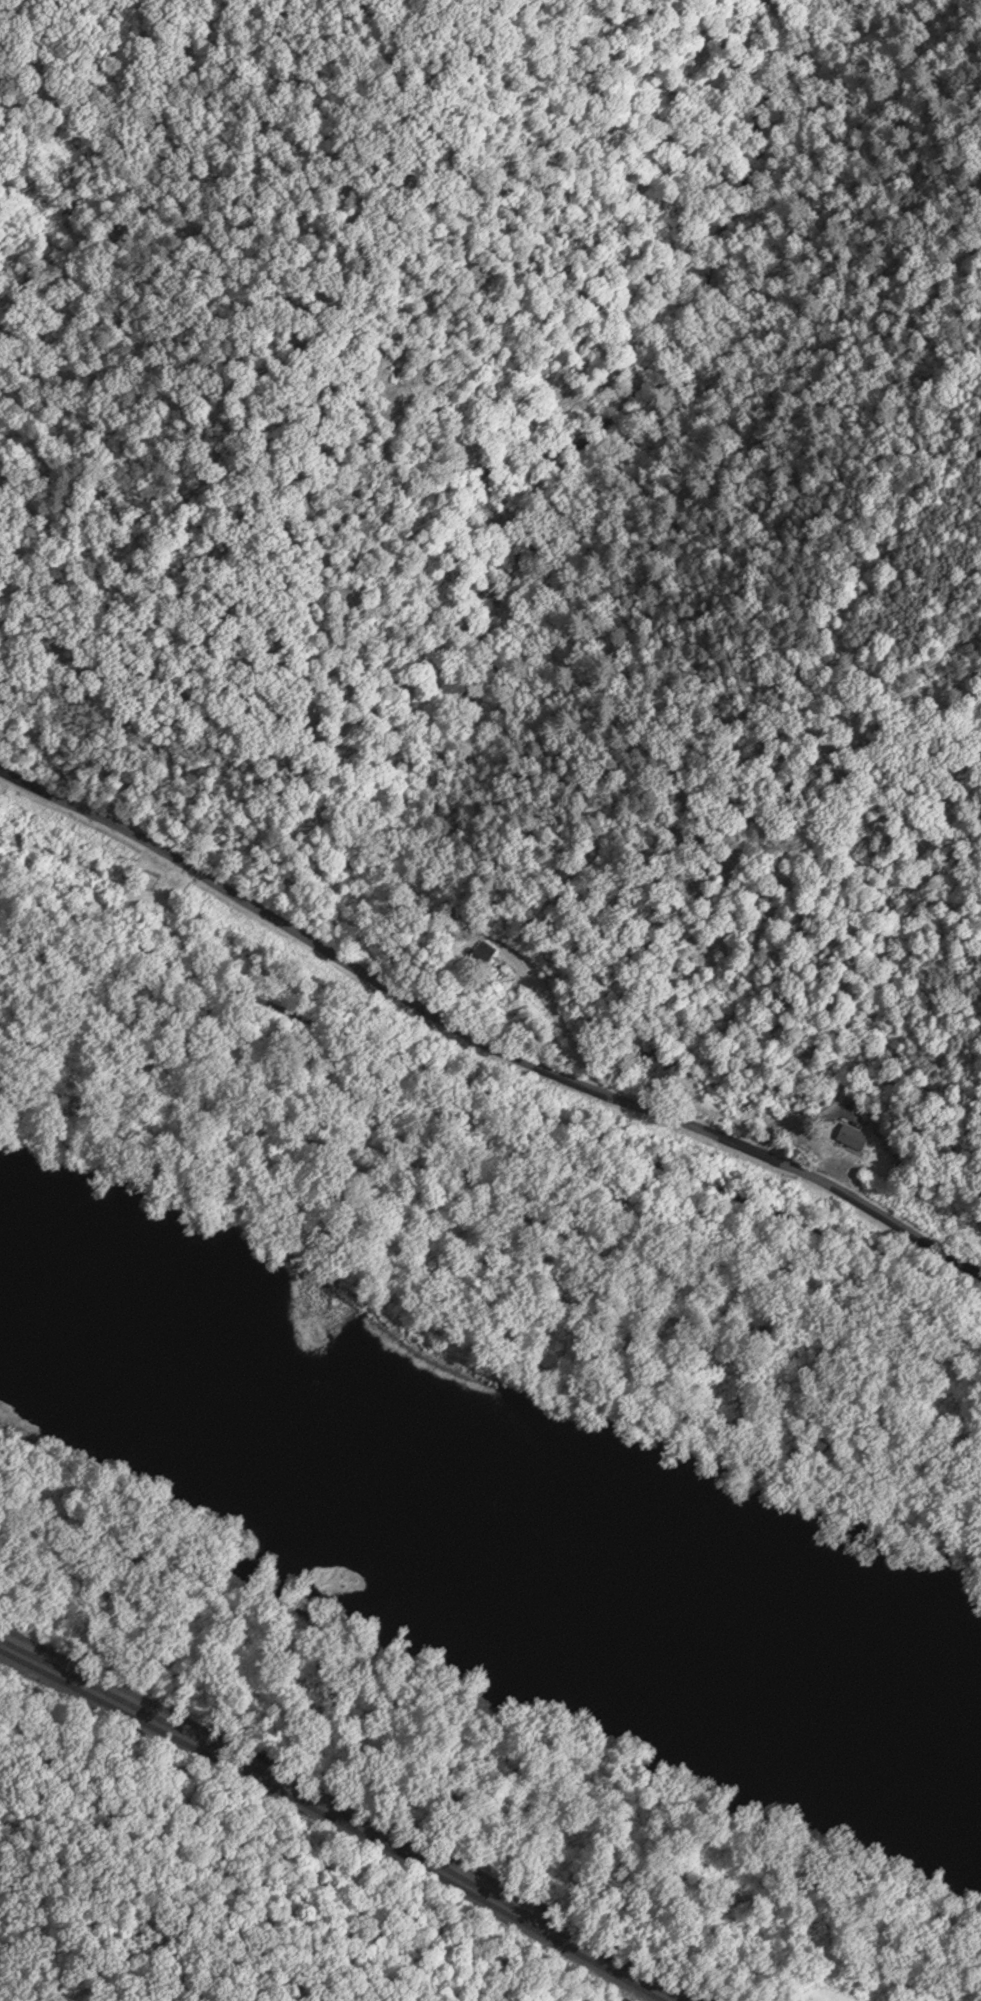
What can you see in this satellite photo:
road: (205, 876)
building: (481, 952)
road: (196, 974)
road: (413, 1001)
road: (401, 1059)
building: (654, 1065)
road: (186, 1084)
park: (527, 1127)
road: (705, 1131)
building: (846, 1135)
road: (377, 1179)
road: (696, 1180)
road: (678, 1323)
river: (494, 1496)
road: (351, 1810)
railway: (342, 1815)
railway: (332, 1820)

